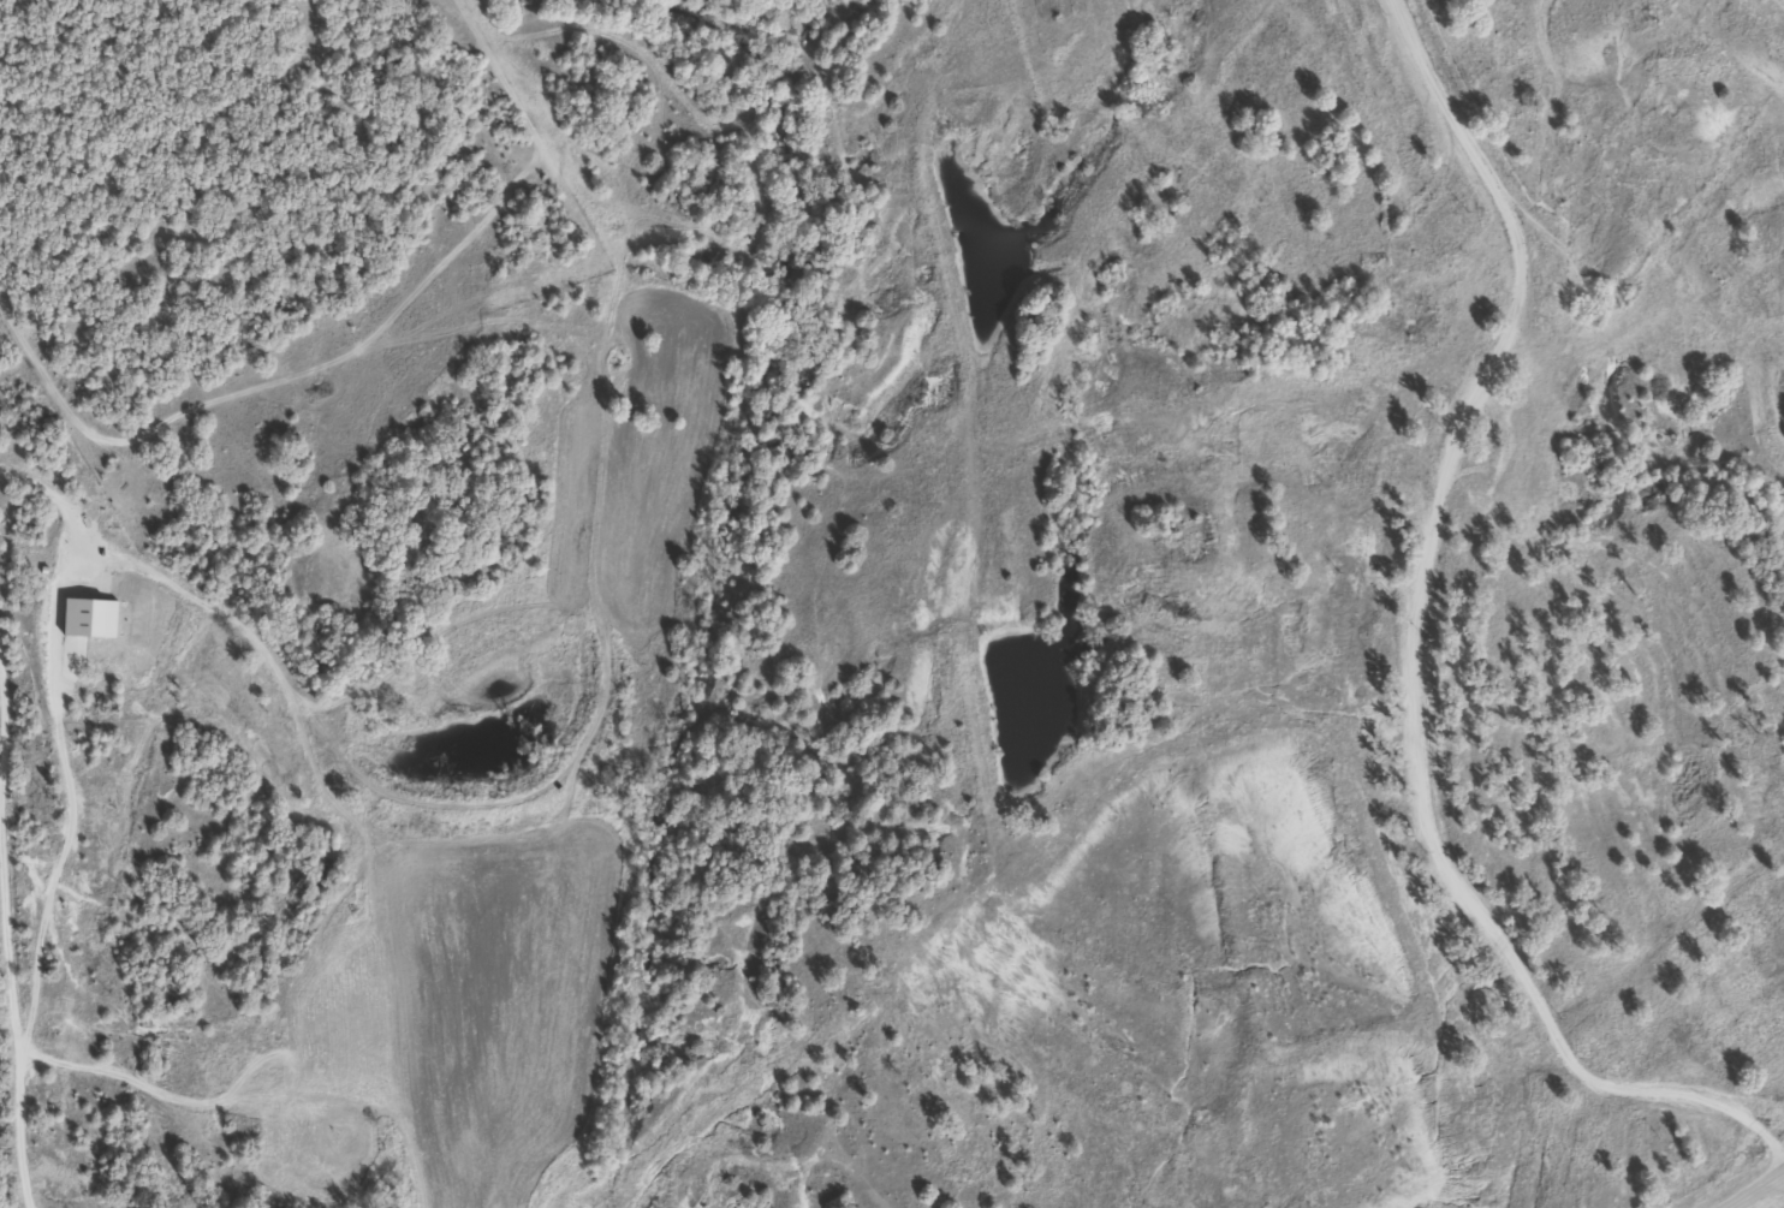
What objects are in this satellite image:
road: (1409, 631)
road: (13, 984)
road: (1755, 1190)

